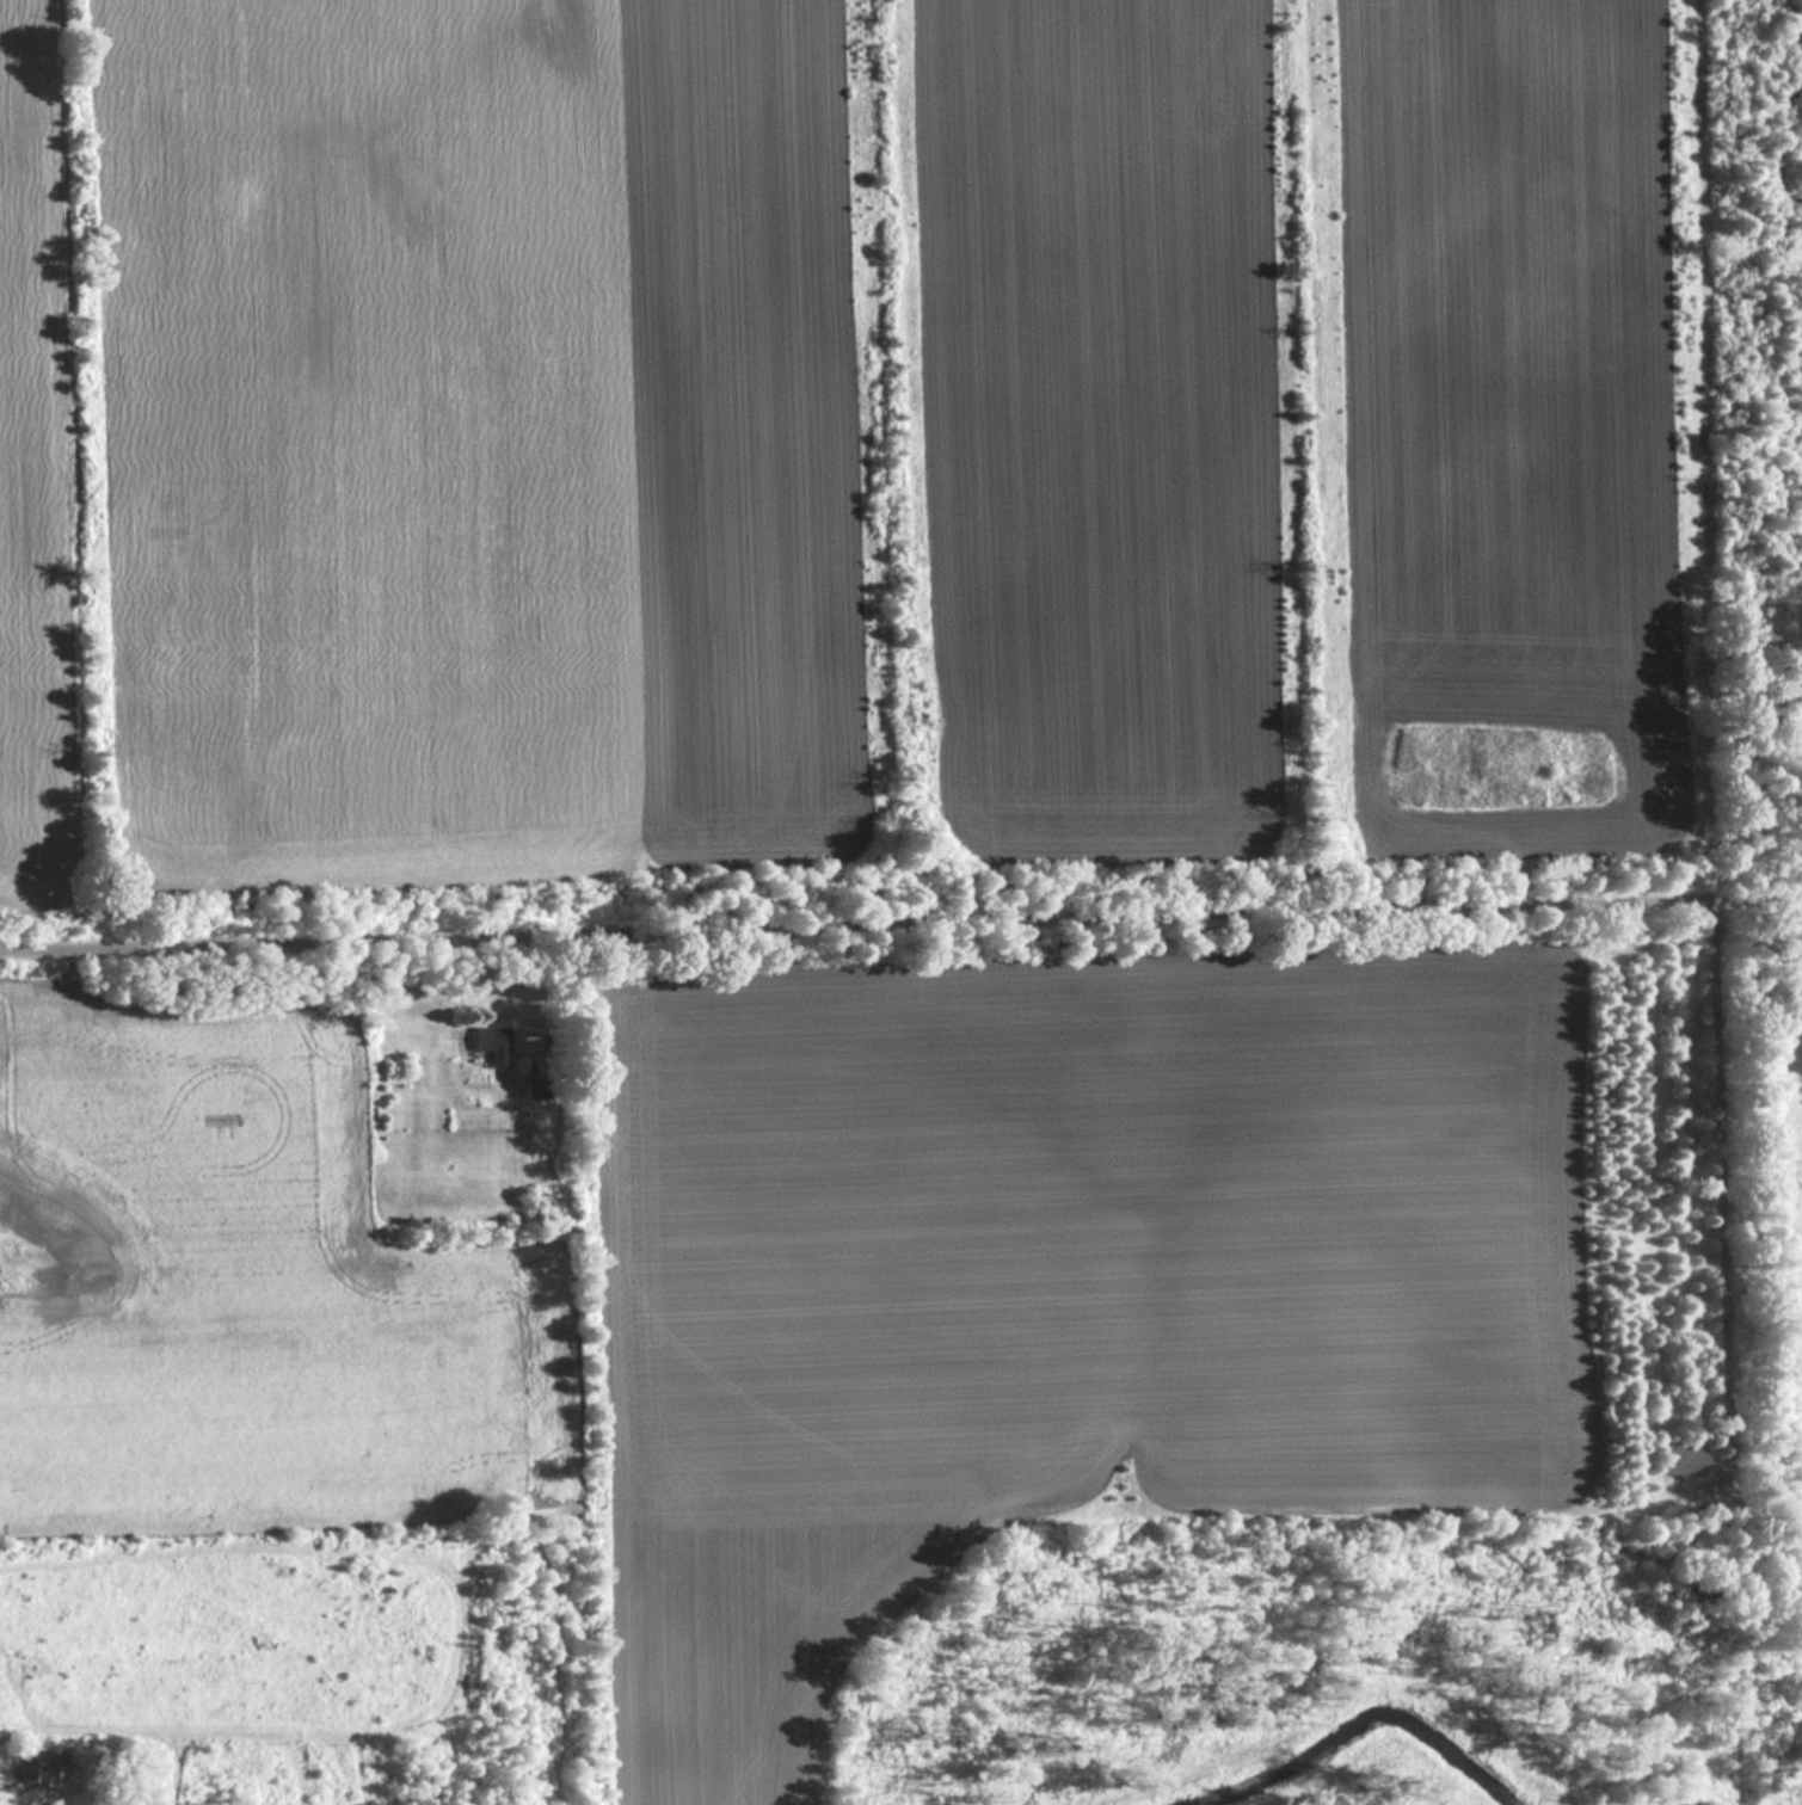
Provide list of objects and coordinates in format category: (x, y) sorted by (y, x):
road: (900, 932)
building: (491, 1045)
building: (536, 1089)
building: (1679, 1461)
river: (1367, 1723)
building: (38, 1768)

